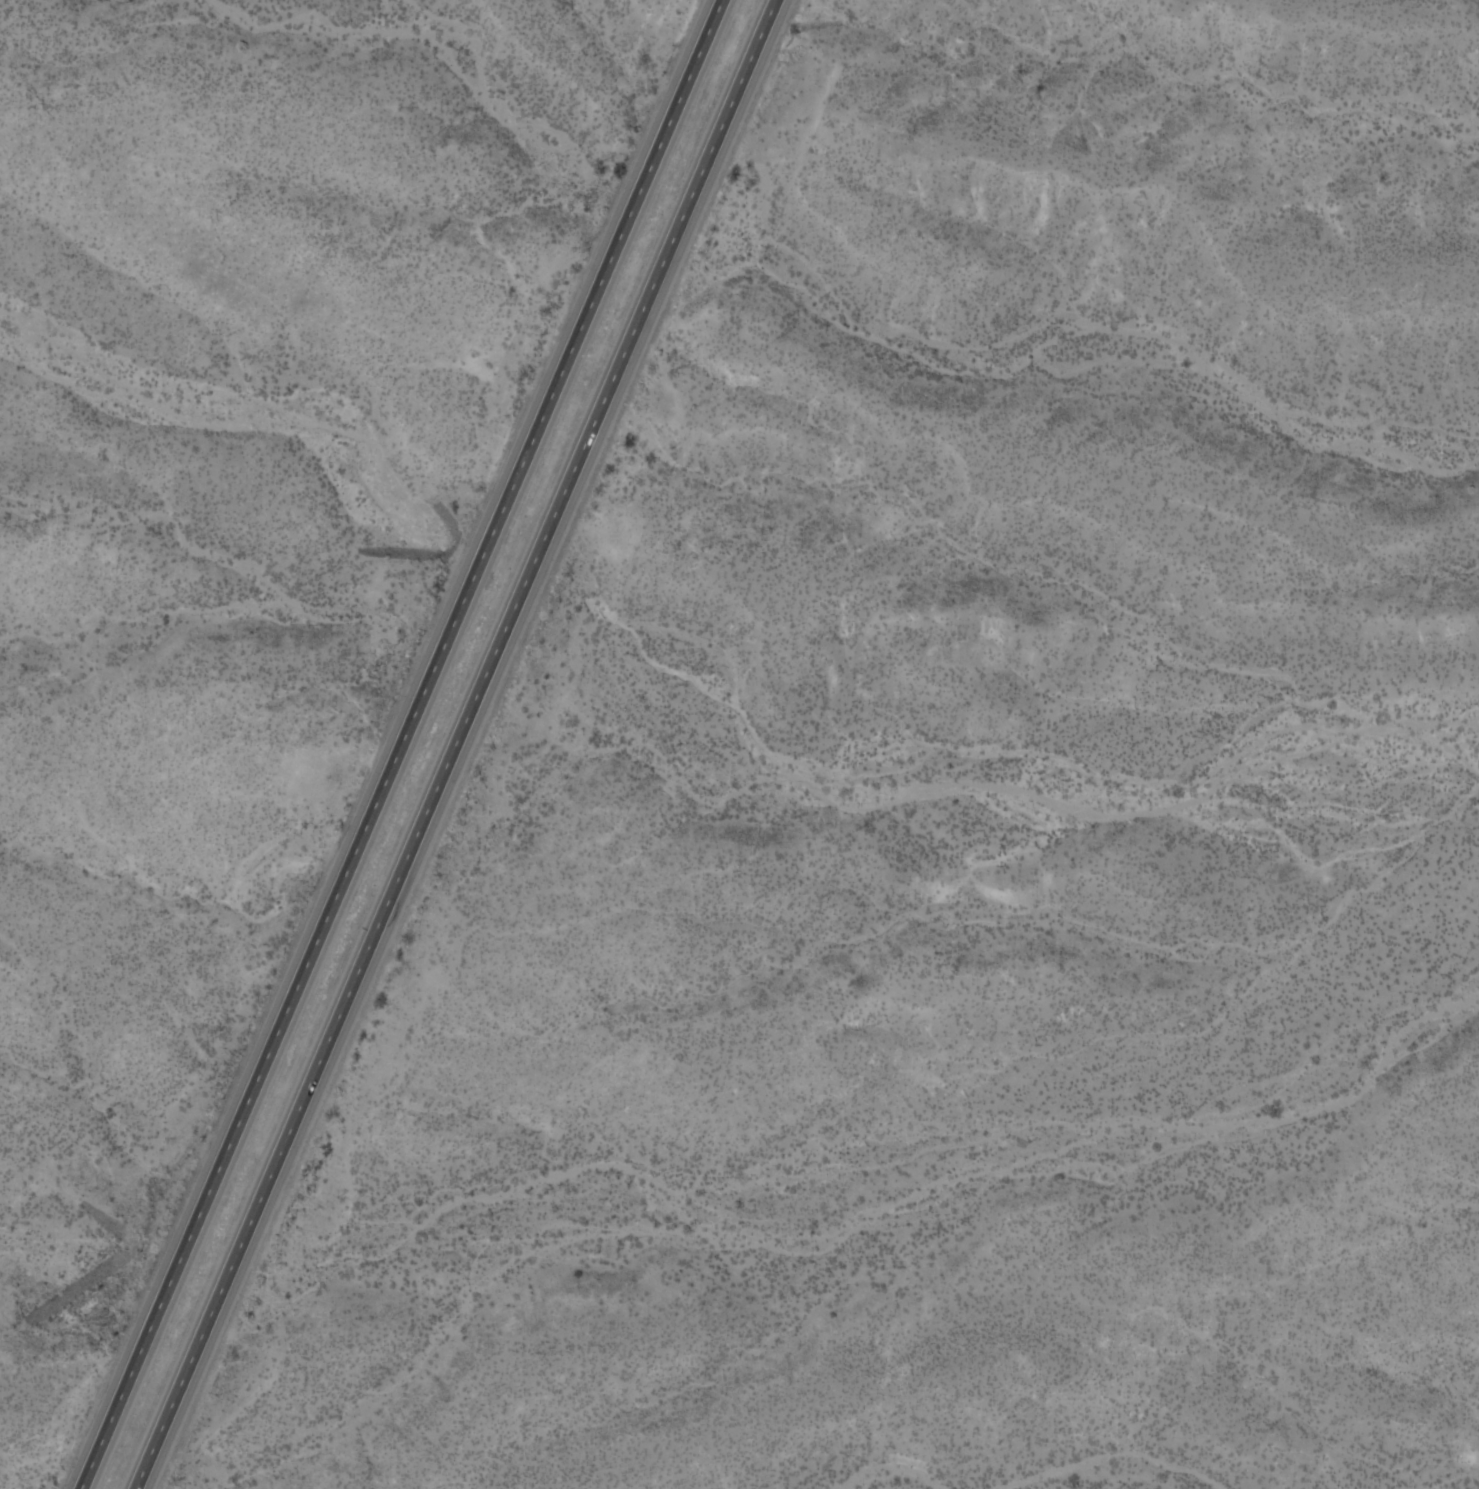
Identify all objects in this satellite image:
road: (400, 744)
road: (455, 745)

